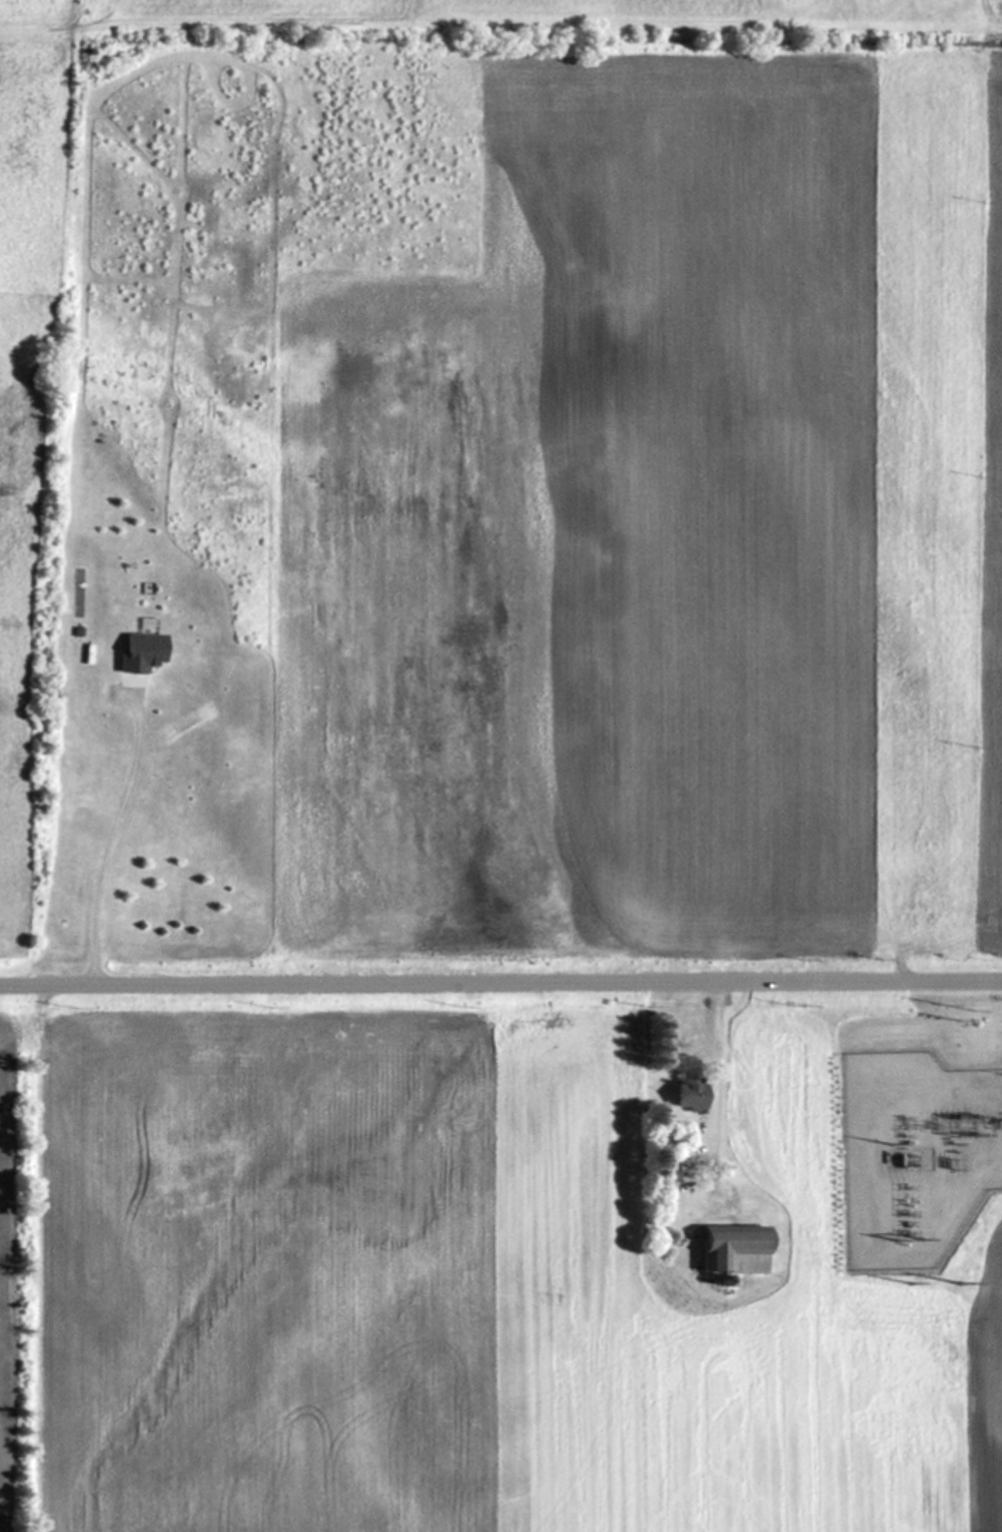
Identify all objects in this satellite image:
power tower: (987, 199)
power tower: (984, 475)
power tower: (979, 745)
road: (501, 982)
power tower: (960, 1018)
building: (689, 1096)
power tower: (940, 1114)
power tower: (963, 1117)
building: (678, 1153)
power substation: (915, 1156)
power tower: (945, 1170)
power tower: (904, 1238)
building: (733, 1249)
power tower: (957, 1281)

